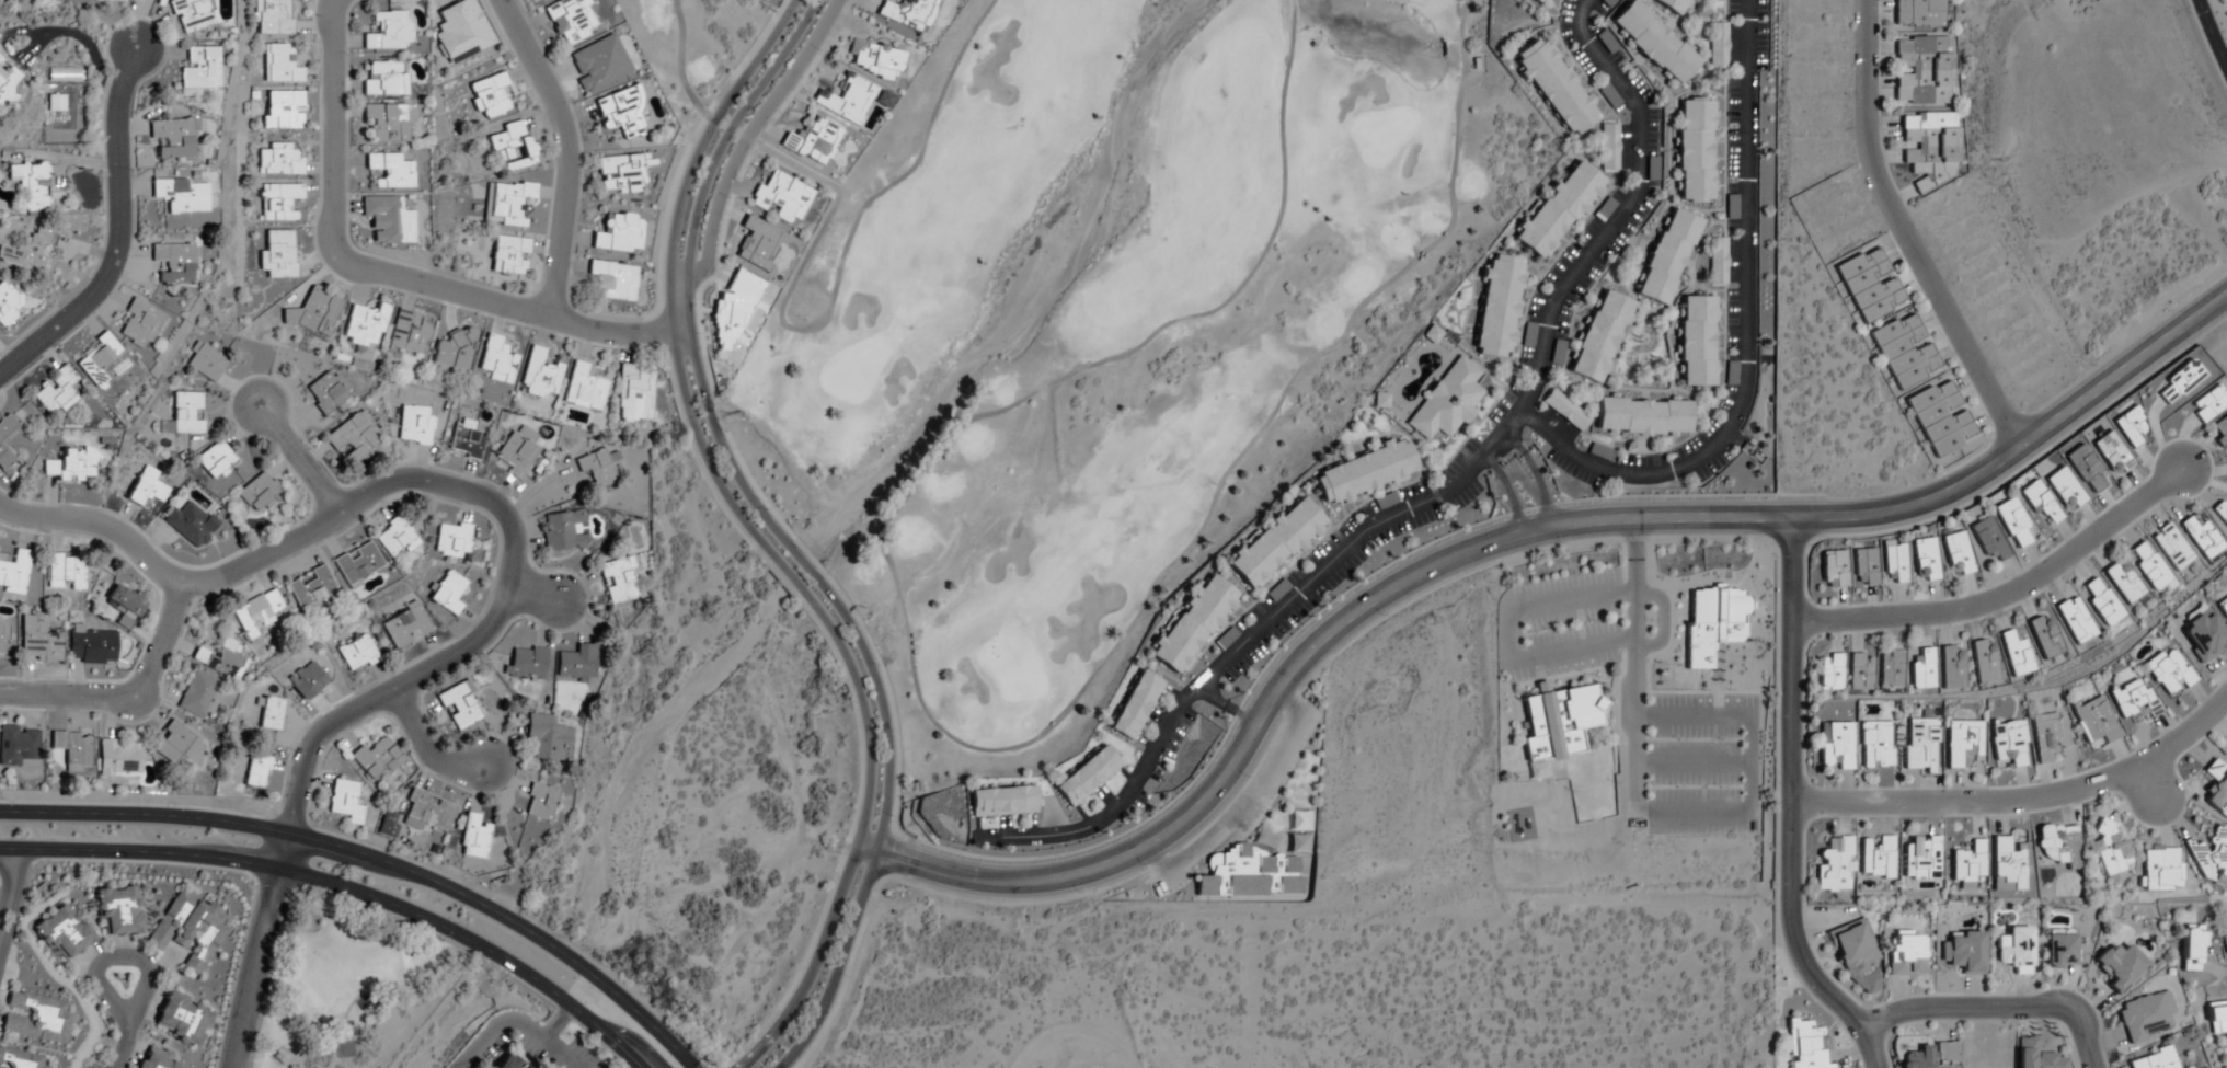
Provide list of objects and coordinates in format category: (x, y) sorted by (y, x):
building: (120, 0)
building: (1538, 2)
building: (1673, 5)
building: (908, 13)
building: (1917, 14)
street lamp: (2189, 14)
building: (190, 15)
building: (273, 18)
building: (570, 21)
building: (388, 32)
building: (461, 32)
road: (45, 34)
road: (2211, 35)
building: (1654, 42)
building: (1718, 46)
street lamp: (817, 50)
street lamp: (347, 56)
building: (874, 59)
building: (597, 64)
building: (280, 65)
building: (198, 68)
building: (1921, 71)
building: (64, 76)
building: (383, 79)
building: (8, 85)
building: (1556, 87)
building: (489, 95)
building: (1609, 96)
building: (846, 100)
street lamp: (571, 105)
building: (282, 111)
building: (620, 113)
building: (387, 122)
road: (749, 133)
building: (174, 139)
building: (812, 141)
building: (512, 147)
building: (1608, 147)
building: (1930, 147)
building: (1695, 150)
road: (567, 151)
building: (279, 161)
building: (388, 171)
building: (622, 173)
building: (32, 184)
building: (181, 195)
street lamp: (727, 198)
building: (781, 198)
building: (279, 202)
building: (514, 203)
road: (1626, 208)
building: (1558, 209)
building: (388, 220)
road: (117, 233)
building: (619, 233)
road: (1906, 236)
building: (30, 250)
street lamp: (363, 251)
building: (277, 255)
building: (509, 255)
building: (1667, 256)
road: (687, 257)
building: (1718, 260)
building: (175, 263)
road: (668, 272)
road: (386, 273)
building: (612, 280)
building: (1870, 285)
building: (9, 303)
building: (1499, 307)
building: (314, 312)
park: (1094, 317)
road: (780, 321)
building: (139, 323)
building: (365, 328)
street lamp: (530, 330)
building: (407, 333)
street lamp: (697, 334)
building: (1528, 334)
building: (1431, 335)
building: (1600, 336)
road: (1747, 340)
building: (1698, 342)
building: (1905, 351)
building: (455, 352)
building: (1558, 352)
building: (99, 360)
building: (497, 360)
building: (207, 363)
building: (539, 375)
building: (2179, 382)
building: (584, 389)
building: (56, 390)
building: (324, 393)
building: (634, 394)
building: (1379, 400)
building: (1447, 401)
building: (2208, 404)
building: (1565, 410)
building: (185, 414)
building: (1643, 416)
building: (1940, 418)
building: (414, 425)
building: (2128, 426)
building: (2220, 432)
building: (353, 438)
building: (467, 438)
street lamp: (2165, 443)
building: (4, 451)
building: (516, 451)
building: (1599, 451)
building: (2111, 453)
road: (303, 459)
building: (215, 460)
building: (72, 466)
building: (597, 468)
building: (2086, 469)
building: (1365, 473)
road: (1526, 478)
road: (1507, 486)
building: (147, 487)
building: (2063, 487)
building: (259, 492)
building: (1385, 501)
building: (2037, 503)
street lamp: (765, 509)
building: (2012, 522)
building: (191, 524)
road: (101, 525)
building: (564, 530)
building: (2201, 535)
building: (394, 538)
road: (1506, 538)
building: (1987, 539)
building: (452, 540)
building: (1275, 542)
street lamp: (1562, 544)
building: (2171, 547)
building: (1954, 553)
road: (793, 554)
street lamp: (1775, 558)
building: (1922, 560)
building: (1893, 562)
building: (357, 564)
road: (513, 566)
building: (1863, 567)
building: (2150, 567)
building: (1833, 570)
building: (14, 572)
building: (65, 572)
road: (784, 573)
building: (618, 581)
building: (2123, 582)
building: (311, 587)
street lamp: (1983, 587)
building: (1275, 592)
building: (448, 593)
road: (2005, 595)
road: (538, 596)
building: (2101, 601)
building: (125, 604)
building: (2223, 608)
building: (256, 613)
road: (1662, 613)
street lamp: (1382, 617)
building: (2075, 620)
street lamp: (1650, 621)
street lamp: (1593, 622)
building: (1713, 622)
building: (1192, 624)
building: (405, 625)
street lamp: (1547, 631)
road: (1507, 634)
building: (2203, 635)
building: (2, 636)
building: (2045, 638)
building: (1225, 639)
building: (38, 642)
road: (1249, 644)
building: (91, 646)
building: (358, 654)
building: (2016, 654)
road: (1634, 657)
street lamp: (1756, 659)
building: (1984, 659)
building: (220, 661)
building: (526, 663)
building: (576, 664)
street lamp: (875, 665)
building: (1890, 669)
building: (1951, 669)
building: (1922, 670)
building: (1832, 671)
building: (1861, 671)
building: (2167, 673)
street lamp: (1584, 675)
building: (307, 679)
street lamp: (1673, 690)
street lamp: (1702, 690)
street lamp: (1726, 690)
building: (197, 696)
road: (128, 697)
building: (2131, 699)
road: (1229, 702)
building: (1134, 704)
building: (459, 705)
building: (271, 714)
street lamp: (1773, 717)
building: (2093, 721)
building: (1557, 722)
building: (2046, 735)
building: (549, 737)
road: (954, 740)
street lamp: (1676, 740)
street lamp: (1719, 740)
building: (1962, 740)
building: (174, 743)
building: (2008, 743)
building: (1920, 744)
building: (1875, 745)
building: (1835, 746)
building: (19, 747)
road: (435, 748)
building: (72, 751)
street lamp: (292, 751)
building: (119, 758)
building: (376, 759)
road: (1692, 763)
road: (1750, 768)
building: (255, 770)
building: (1086, 776)
street lamp: (1247, 778)
road: (2147, 781)
street lamp: (1612, 782)
street lamp: (1941, 786)
street lamp: (1675, 788)
street lamp: (1717, 788)
road: (1789, 789)
building: (2216, 789)
street lamp: (1568, 791)
street lamp: (2, 800)
road: (2022, 800)
building: (1001, 801)
building: (345, 802)
building: (540, 802)
street lamp: (174, 805)
building: (416, 815)
street lamp: (889, 816)
road: (882, 823)
street lamp: (2170, 827)
building: (474, 838)
road: (857, 839)
street lamp: (367, 843)
building: (2058, 845)
building: (2109, 851)
building: (1876, 858)
building: (1921, 858)
building: (2211, 859)
road: (376, 860)
street lamp: (83, 863)
building: (1967, 864)
building: (1835, 865)
building: (2007, 865)
building: (2160, 869)
building: (1235, 874)
road: (12, 875)
street lamp: (1772, 885)
street lamp: (252, 887)
road: (344, 889)
street lamp: (1079, 893)
road: (2, 903)
building: (118, 912)
road: (11, 915)
building: (188, 930)
building: (64, 934)
road: (4, 935)
building: (2224, 938)
street lamp: (439, 939)
building: (2193, 949)
building: (2014, 952)
building: (1905, 953)
building: (1964, 953)
building: (2059, 953)
building: (1857, 957)
building: (2120, 967)
road: (253, 968)
park: (348, 986)
street lamp: (2079, 991)
road: (137, 1002)
road: (1994, 1008)
road: (292, 1013)
building: (2145, 1015)
building: (2217, 1018)
building: (35, 1019)
building: (179, 1020)
road: (514, 1023)
road: (555, 1024)
road: (342, 1037)
road: (125, 1038)
road: (307, 1040)
building: (1805, 1045)
street lamp: (601, 1048)
road: (1872, 1052)
building: (2035, 1055)
building: (1929, 1056)
building: (153, 1058)
building: (23, 1059)
building: (2154, 1059)
building: (508, 1064)
street lamp: (1859, 1067)

